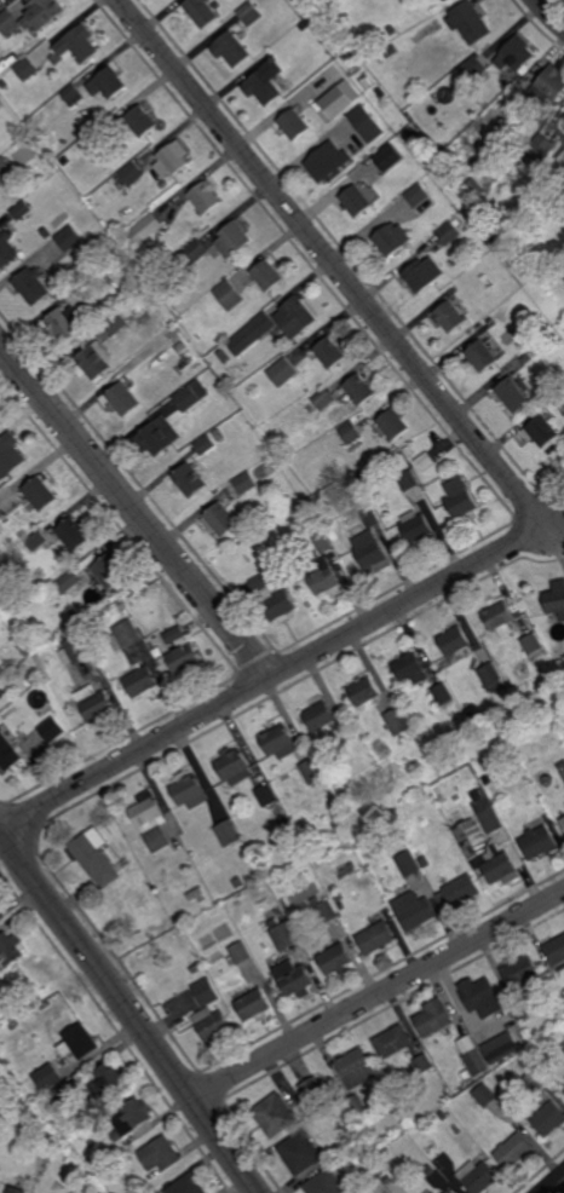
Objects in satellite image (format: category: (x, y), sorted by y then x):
building: (442, 0)
building: (444, 0)
building: (201, 11)
building: (41, 12)
building: (251, 12)
road: (549, 13)
building: (7, 22)
building: (468, 22)
building: (304, 24)
building: (392, 29)
building: (76, 45)
building: (232, 47)
building: (391, 50)
building: (514, 56)
building: (25, 68)
building: (472, 68)
building: (108, 82)
building: (4, 83)
building: (548, 85)
building: (264, 86)
building: (381, 93)
building: (73, 94)
building: (336, 102)
building: (140, 120)
building: (367, 122)
building: (407, 122)
building: (294, 123)
building: (102, 129)
building: (398, 129)
building: (44, 137)
building: (540, 148)
building: (412, 151)
building: (389, 157)
building: (172, 160)
building: (329, 161)
building: (5, 171)
building: (132, 173)
building: (476, 188)
building: (418, 195)
building: (205, 196)
building: (356, 200)
building: (19, 209)
building: (146, 229)
building: (46, 234)
building: (448, 234)
building: (511, 234)
building: (69, 238)
building: (496, 238)
building: (232, 240)
building: (390, 241)
building: (6, 249)
building: (194, 252)
road: (328, 258)
building: (266, 275)
building: (422, 275)
building: (30, 284)
building: (148, 290)
building: (77, 292)
building: (229, 295)
building: (479, 313)
building: (451, 316)
building: (295, 317)
building: (62, 323)
building: (116, 323)
building: (493, 323)
building: (251, 334)
building: (330, 352)
building: (224, 356)
building: (482, 357)
building: (526, 359)
building: (94, 361)
building: (282, 373)
building: (248, 382)
building: (300, 388)
building: (359, 390)
building: (512, 394)
building: (190, 396)
building: (122, 399)
building: (323, 399)
building: (557, 400)
building: (393, 425)
building: (541, 432)
building: (351, 433)
building: (218, 436)
building: (157, 437)
building: (205, 445)
building: (10, 453)
building: (425, 461)
building: (189, 480)
building: (408, 480)
building: (244, 484)
building: (39, 495)
building: (459, 498)
road: (136, 509)
building: (1, 513)
building: (370, 518)
building: (219, 520)
building: (415, 528)
building: (74, 534)
building: (254, 536)
building: (36, 541)
building: (321, 541)
building: (369, 551)
building: (109, 572)
building: (323, 578)
building: (67, 583)
building: (274, 599)
building: (556, 604)
building: (71, 613)
building: (500, 621)
building: (34, 623)
building: (125, 636)
building: (454, 644)
building: (533, 645)
building: (75, 651)
building: (182, 653)
building: (410, 670)
building: (1, 672)
road: (270, 676)
building: (490, 679)
building: (142, 685)
building: (364, 692)
building: (442, 696)
building: (94, 705)
building: (318, 715)
building: (398, 722)
building: (51, 731)
building: (278, 742)
building: (10, 755)
building: (517, 767)
building: (232, 768)
building: (311, 772)
building: (562, 773)
building: (351, 777)
building: (188, 791)
building: (266, 796)
building: (442, 799)
building: (148, 812)
building: (445, 813)
building: (562, 820)
building: (228, 832)
building: (157, 837)
building: (471, 837)
building: (537, 842)
building: (93, 858)
building: (421, 859)
building: (405, 863)
building: (238, 882)
building: (457, 891)
building: (196, 894)
building: (236, 903)
building: (340, 906)
building: (323, 910)
building: (413, 911)
building: (282, 934)
building: (142, 936)
building: (375, 938)
building: (11, 949)
building: (556, 950)
building: (238, 953)
building: (334, 959)
building: (196, 968)
building: (520, 970)
building: (293, 978)
road: (378, 993)
building: (480, 996)
building: (253, 1005)
road: (130, 1010)
building: (519, 1010)
building: (209, 1015)
building: (434, 1020)
building: (79, 1041)
building: (393, 1041)
building: (485, 1042)
building: (563, 1045)
building: (500, 1048)
building: (472, 1055)
building: (424, 1064)
building: (454, 1064)
building: (356, 1067)
building: (466, 1074)
building: (47, 1077)
building: (108, 1079)
building: (535, 1079)
building: (315, 1091)
building: (563, 1091)
building: (484, 1094)
building: (62, 1095)
building: (357, 1103)
building: (275, 1114)
building: (442, 1116)
building: (132, 1118)
building: (548, 1119)
building: (404, 1139)
building: (92, 1143)
building: (513, 1149)
building: (299, 1152)
building: (160, 1153)
building: (84, 1159)
building: (428, 1170)
building: (478, 1176)
building: (387, 1178)
building: (324, 1182)
building: (186, 1185)
road: (556, 1186)
building: (2, 1191)
building: (15, 1191)
building: (91, 1192)
building: (447, 1192)

